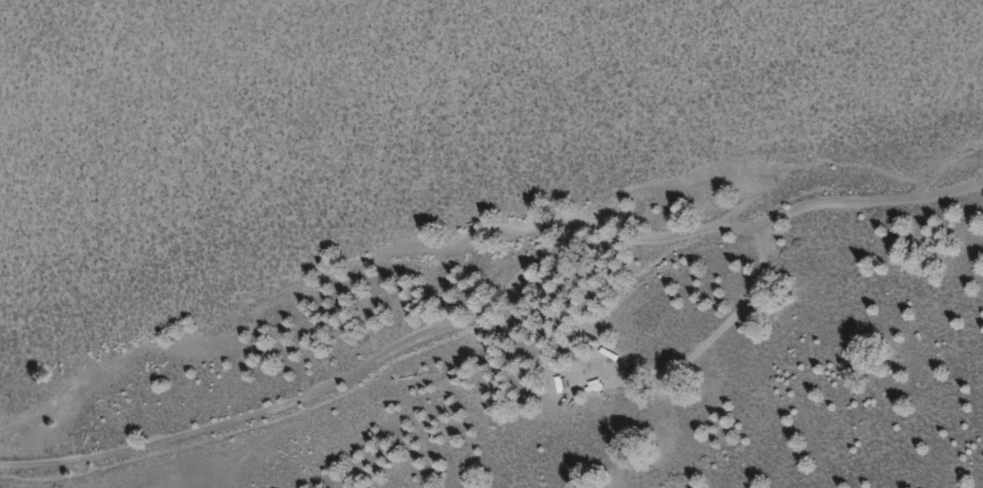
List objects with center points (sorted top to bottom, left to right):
road: (489, 309)

